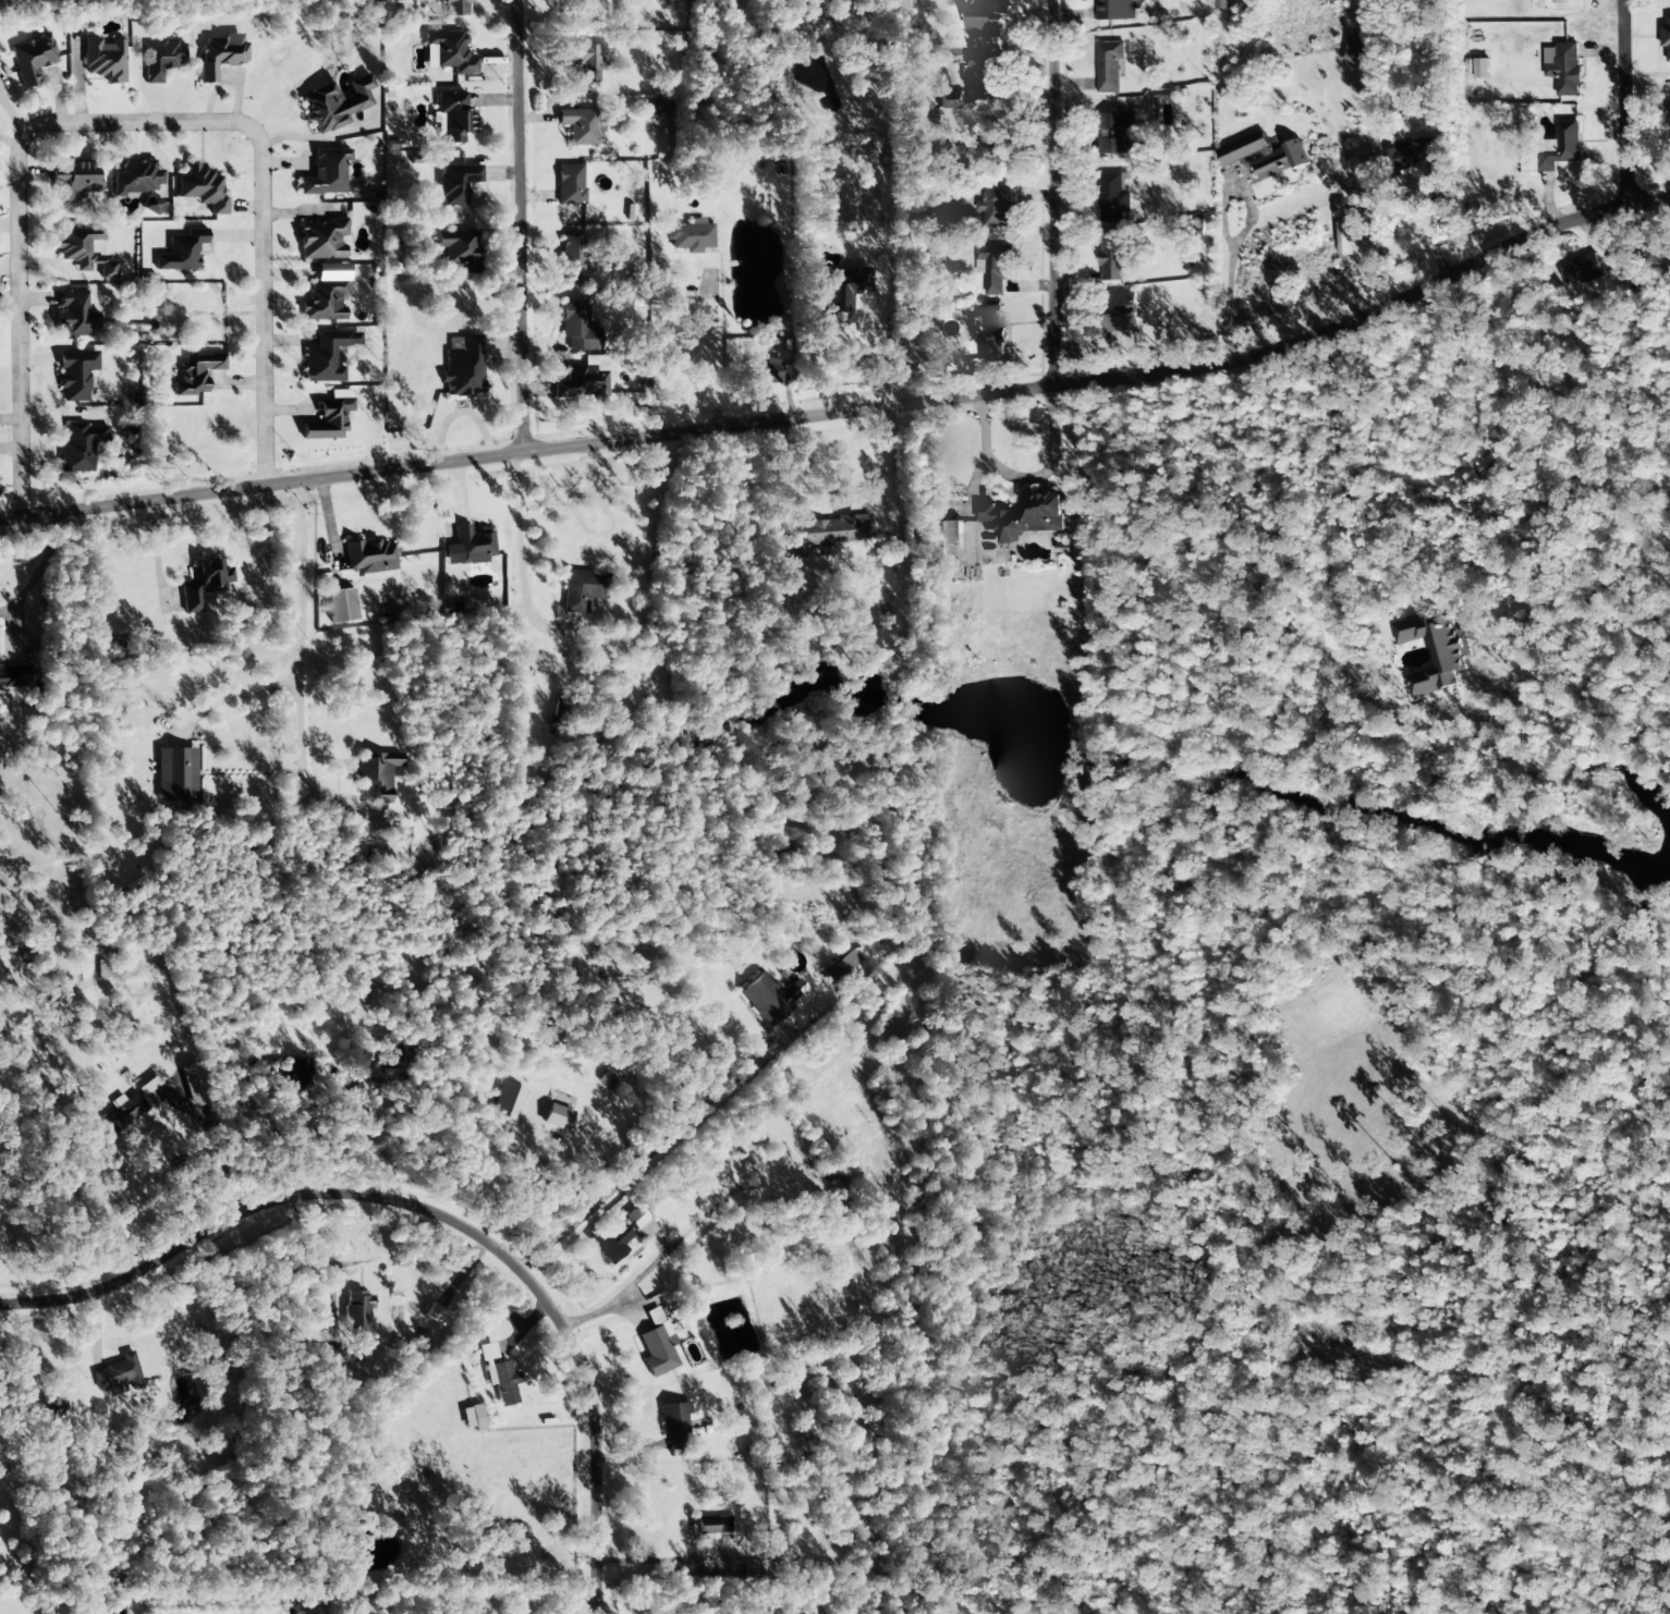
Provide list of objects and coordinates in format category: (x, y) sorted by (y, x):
building: (13, 3)
building: (574, 4)
building: (454, 8)
building: (1116, 10)
building: (987, 19)
building: (1666, 37)
building: (451, 52)
building: (1361, 52)
building: (220, 54)
building: (162, 58)
building: (33, 59)
building: (103, 60)
building: (583, 62)
building: (1109, 66)
building: (1482, 69)
building: (1563, 69)
building: (985, 72)
building: (951, 100)
road: (1621, 101)
building: (338, 103)
building: (453, 117)
building: (577, 126)
building: (1116, 133)
road: (114, 137)
building: (1560, 146)
building: (1411, 154)
building: (1264, 156)
building: (326, 173)
building: (72, 180)
building: (137, 182)
building: (456, 183)
building: (571, 184)
road: (1040, 186)
building: (202, 188)
building: (1113, 198)
building: (996, 207)
road: (510, 227)
building: (690, 236)
building: (1344, 239)
building: (321, 240)
building: (459, 249)
building: (83, 252)
building: (182, 252)
building: (1113, 255)
building: (573, 260)
building: (1618, 261)
building: (994, 267)
building: (1582, 270)
building: (841, 293)
road: (239, 301)
building: (324, 302)
building: (1121, 314)
building: (74, 315)
building: (577, 327)
building: (991, 332)
road: (708, 355)
building: (327, 356)
building: (463, 366)
building: (761, 370)
building: (76, 374)
building: (196, 374)
building: (582, 383)
road: (849, 409)
building: (330, 417)
building: (81, 447)
road: (887, 462)
road: (394, 486)
building: (1026, 516)
building: (828, 530)
building: (949, 543)
building: (468, 547)
road: (520, 554)
building: (370, 557)
building: (204, 584)
building: (582, 590)
building: (341, 606)
building: (1435, 652)
building: (15, 676)
building: (377, 773)
building: (175, 774)
building: (844, 964)
building: (772, 999)
building: (392, 1054)
building: (289, 1074)
building: (606, 1080)
building: (194, 1085)
building: (507, 1101)
building: (129, 1109)
building: (556, 1117)
building: (745, 1151)
building: (647, 1206)
road: (425, 1209)
building: (639, 1222)
building: (610, 1240)
building: (356, 1312)
building: (435, 1315)
building: (657, 1345)
building: (326, 1357)
building: (118, 1375)
building: (498, 1375)
building: (54, 1410)
building: (472, 1418)
building: (673, 1425)
building: (357, 1467)
building: (711, 1526)
building: (778, 1549)

